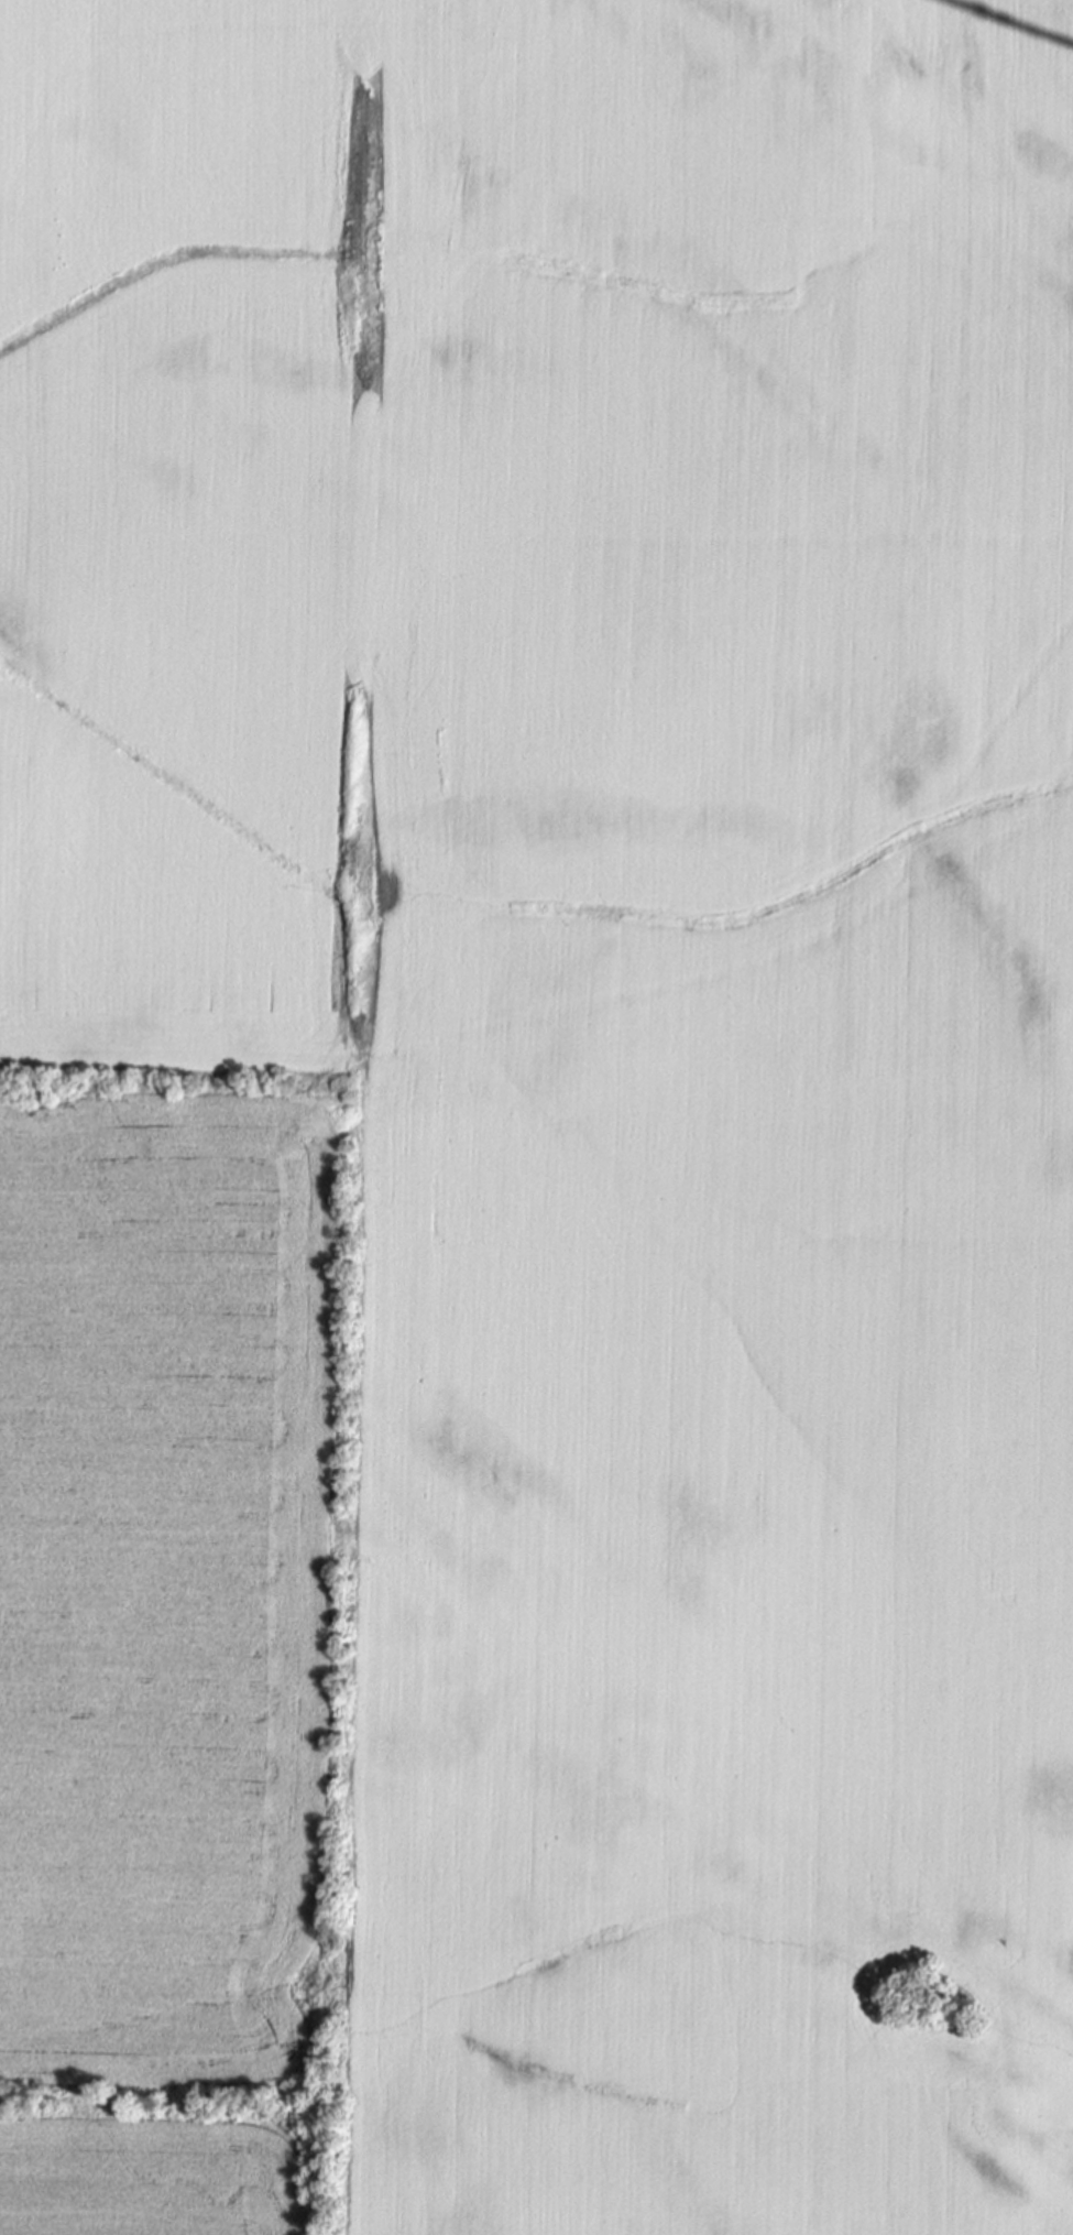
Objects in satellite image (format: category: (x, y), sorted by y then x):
crop: (536, 1117)

